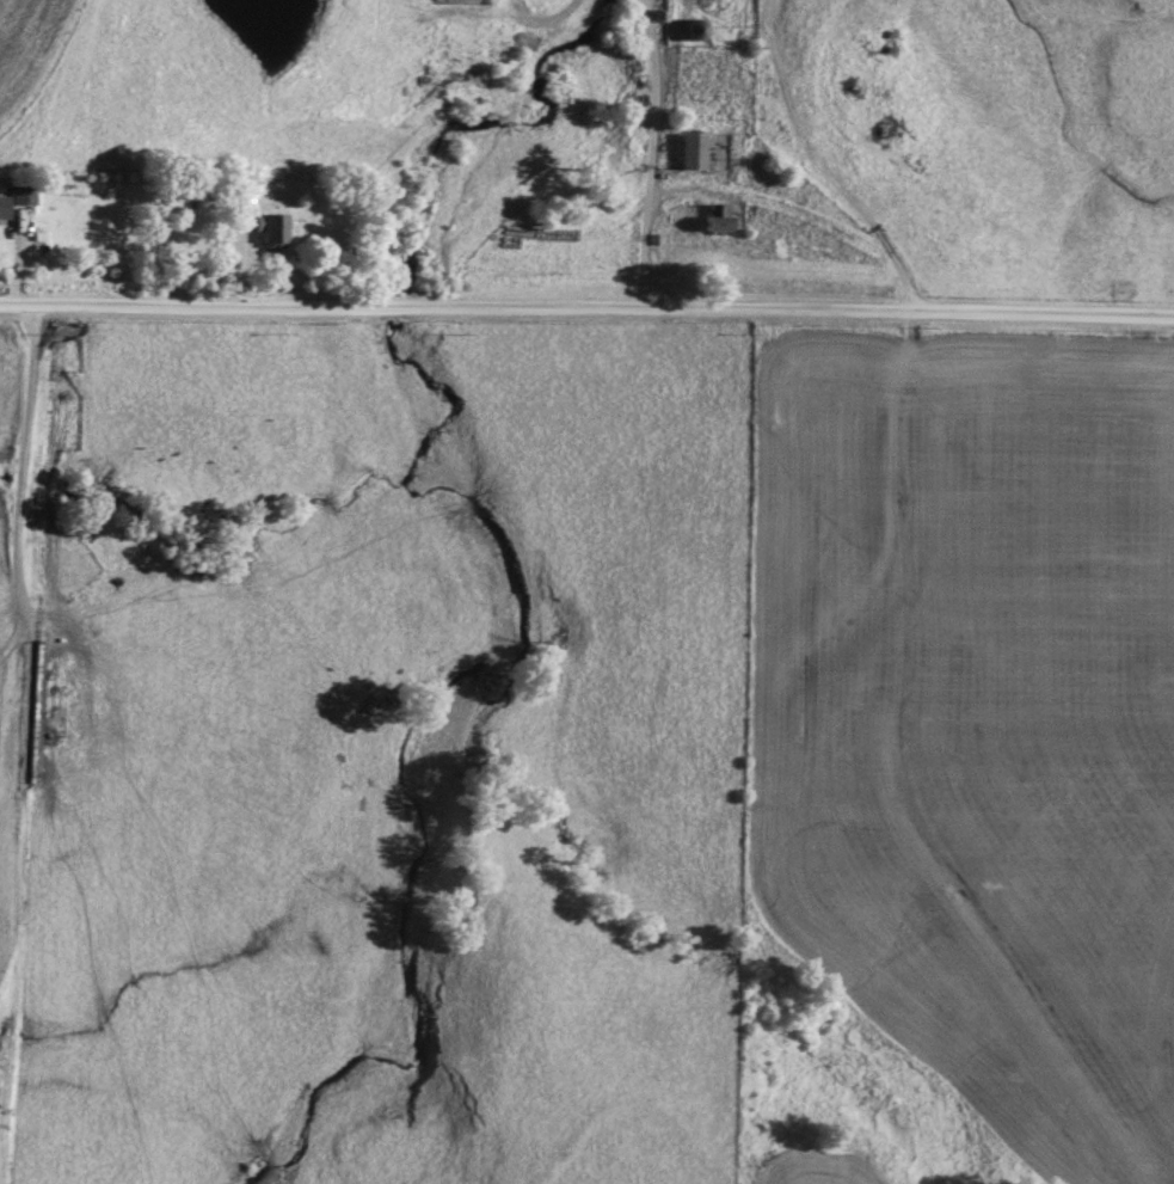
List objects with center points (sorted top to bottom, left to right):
building: (699, 27)
road: (807, 137)
building: (696, 149)
building: (23, 192)
road: (755, 192)
building: (4, 205)
building: (273, 228)
road: (586, 301)

